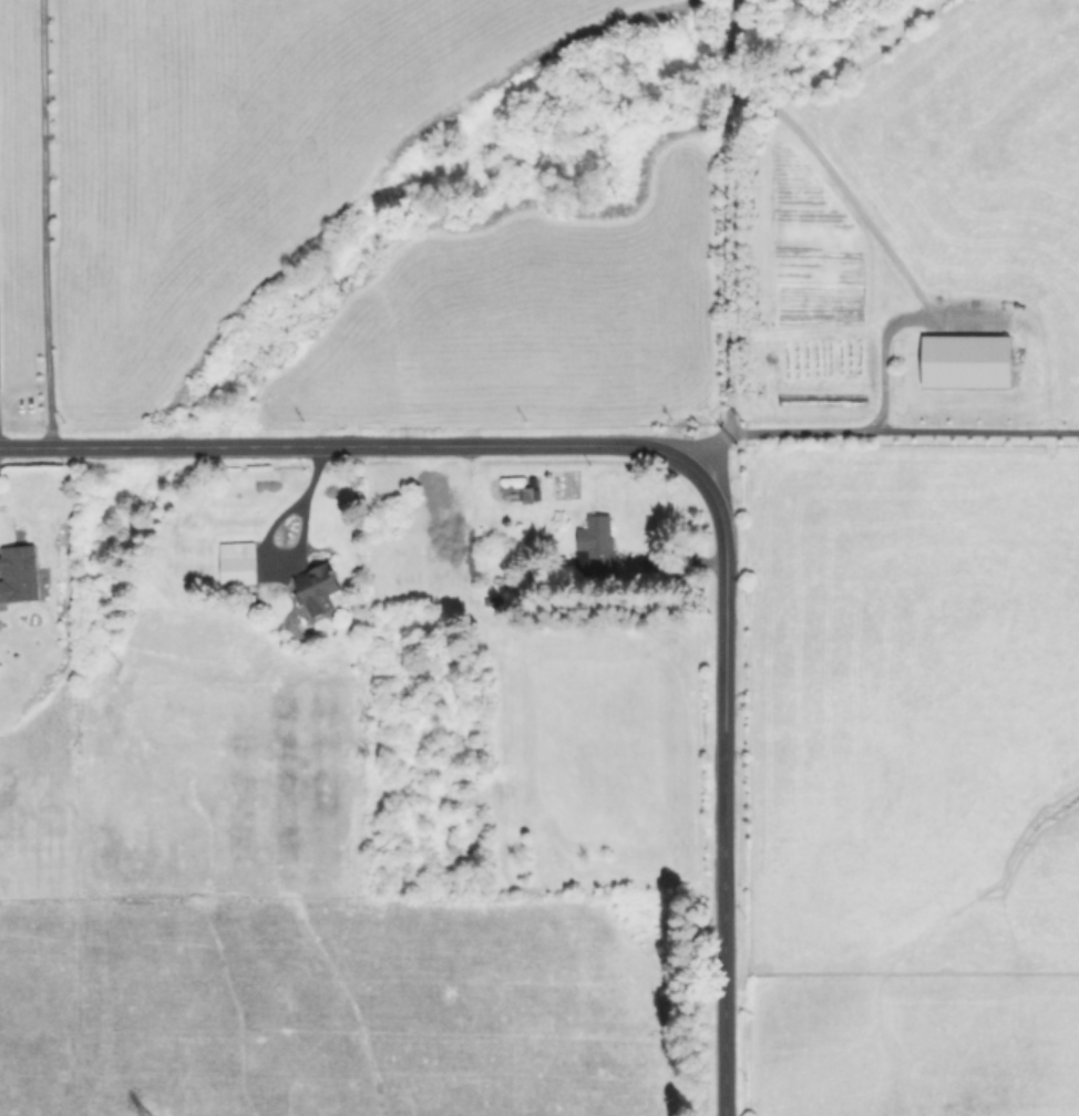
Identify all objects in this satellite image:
road: (842, 189)
road: (728, 217)
road: (42, 223)
road: (890, 324)
building: (964, 360)
road: (857, 432)
road: (354, 447)
building: (528, 494)
building: (594, 544)
road: (291, 549)
building: (236, 562)
building: (18, 572)
building: (315, 590)
road: (723, 793)

